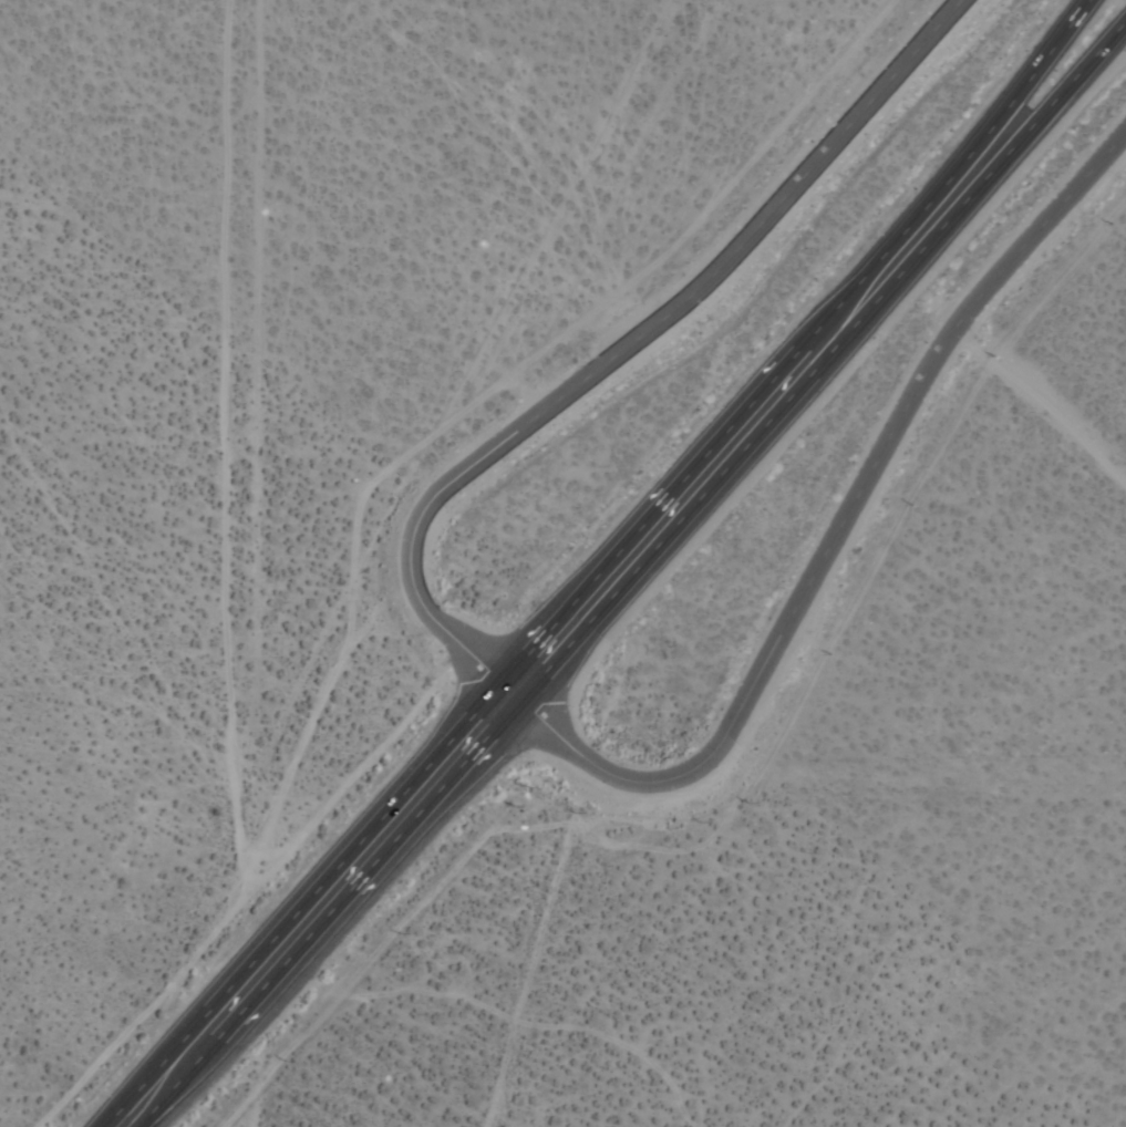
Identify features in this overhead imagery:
road: (1055, 42)
road: (632, 344)
road: (827, 371)
road: (225, 381)
road: (765, 387)
road: (1042, 402)
road: (258, 455)
road: (835, 540)
road: (311, 721)
road: (306, 906)
road: (234, 917)
road: (343, 918)
road: (255, 1118)

